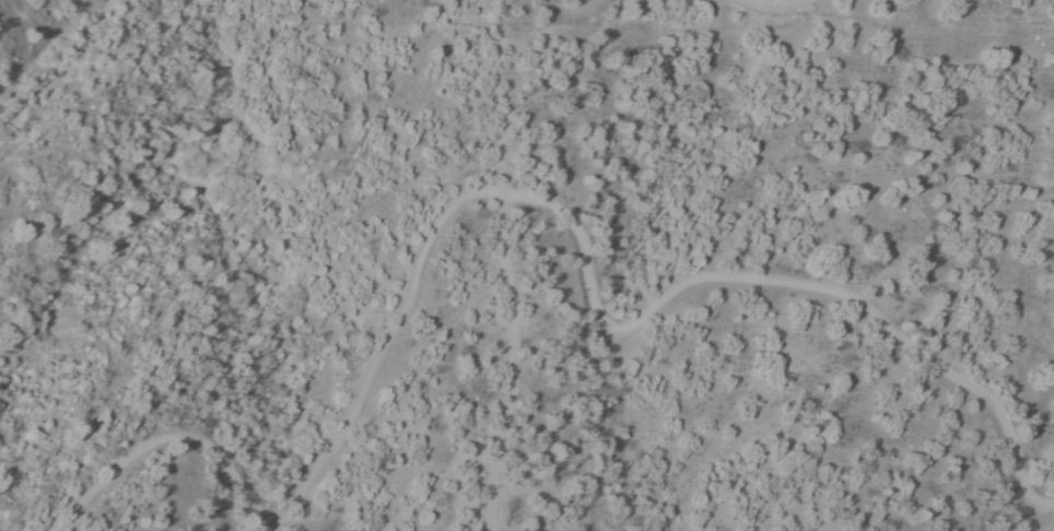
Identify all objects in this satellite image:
road: (789, 3)
road: (515, 198)
road: (508, 364)

